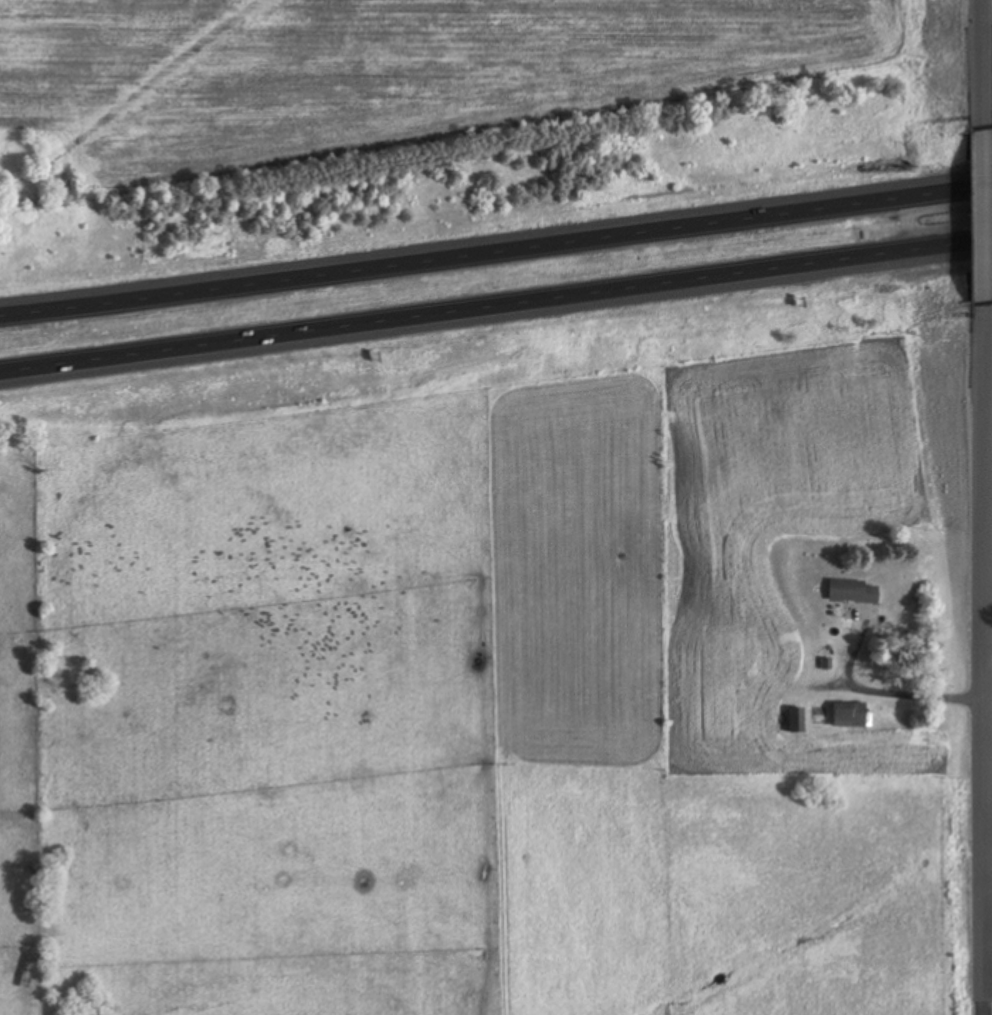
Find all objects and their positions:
crop: (991, 12)
crop: (397, 68)
road: (982, 72)
road: (985, 215)
road: (496, 253)
road: (496, 306)
building: (855, 591)
road: (982, 649)
road: (987, 652)
road: (915, 695)
building: (852, 714)
building: (798, 720)

